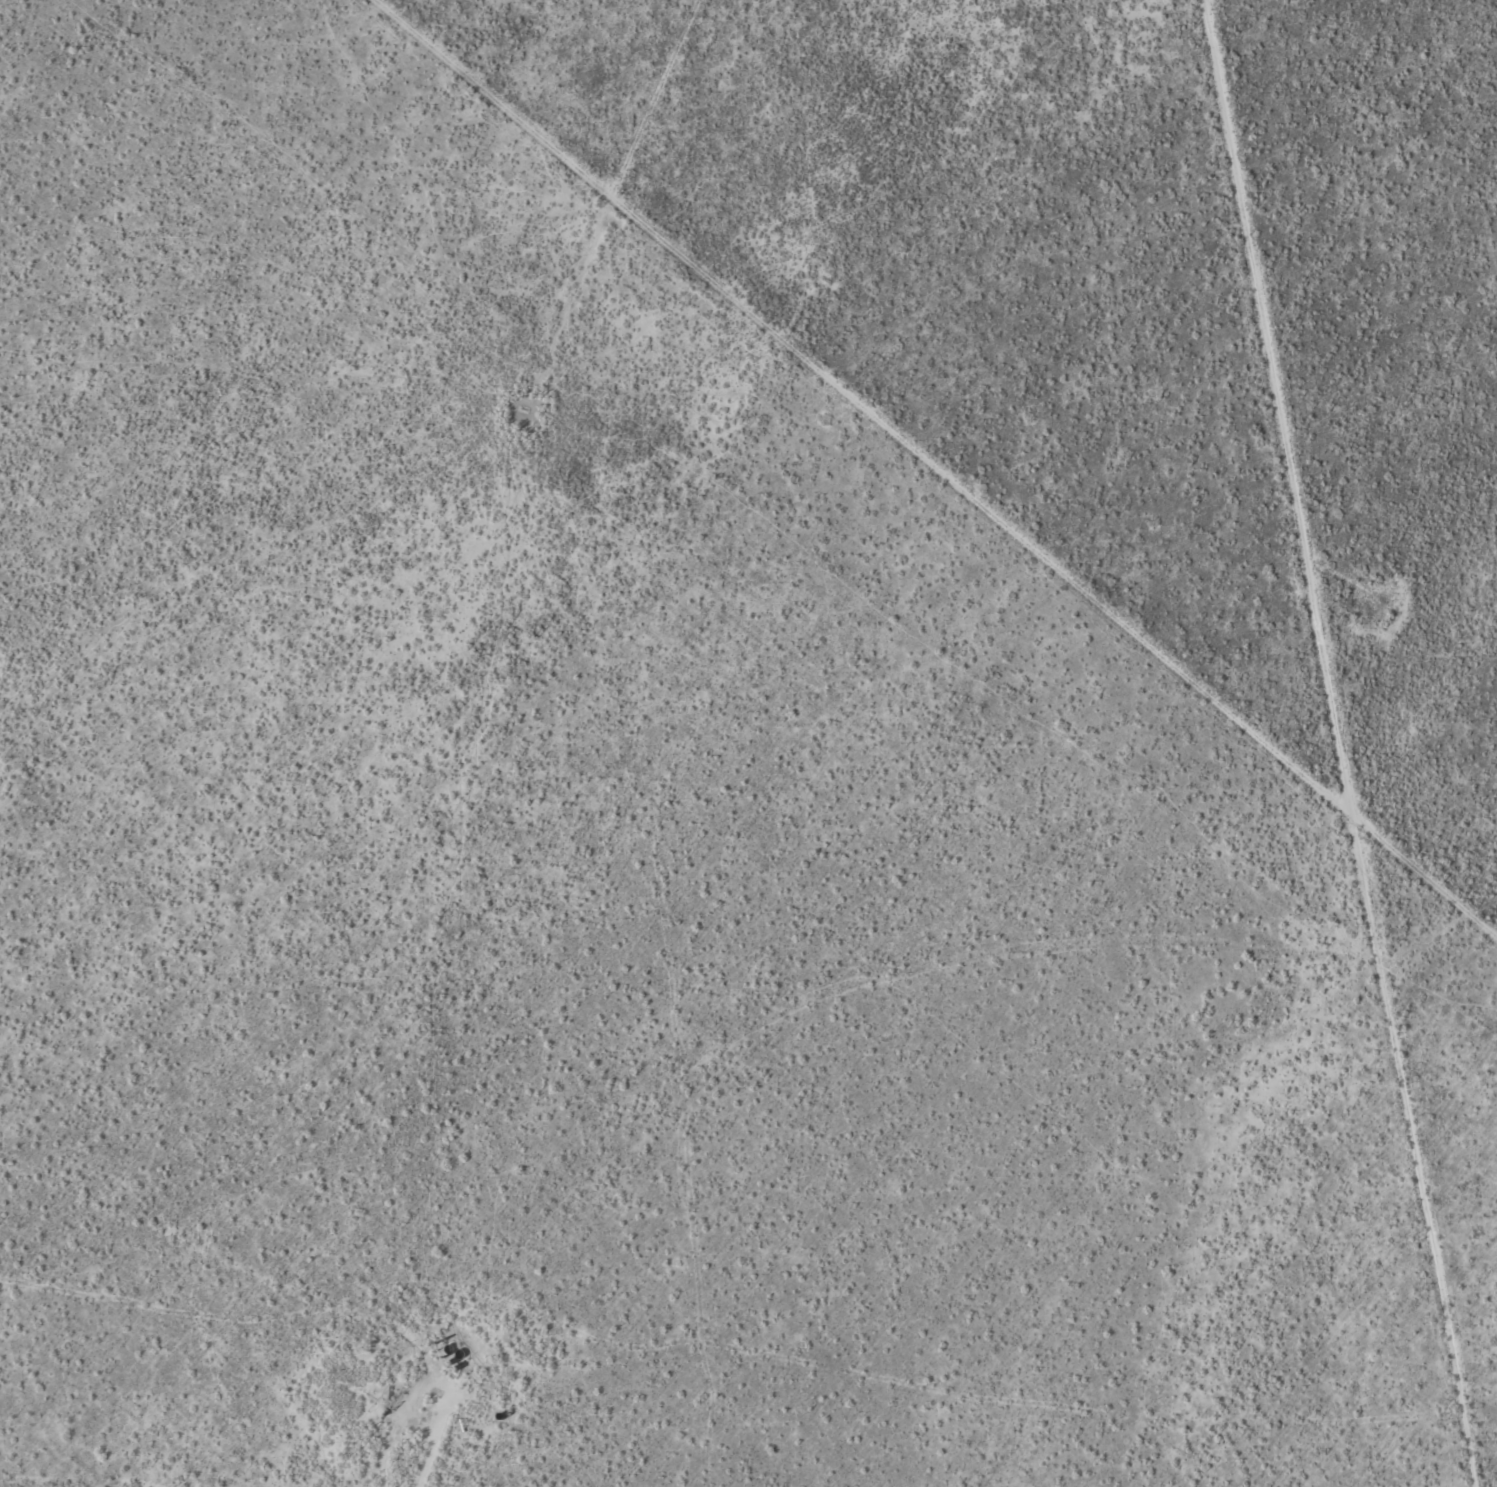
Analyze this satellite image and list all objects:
road: (97, 1474)

